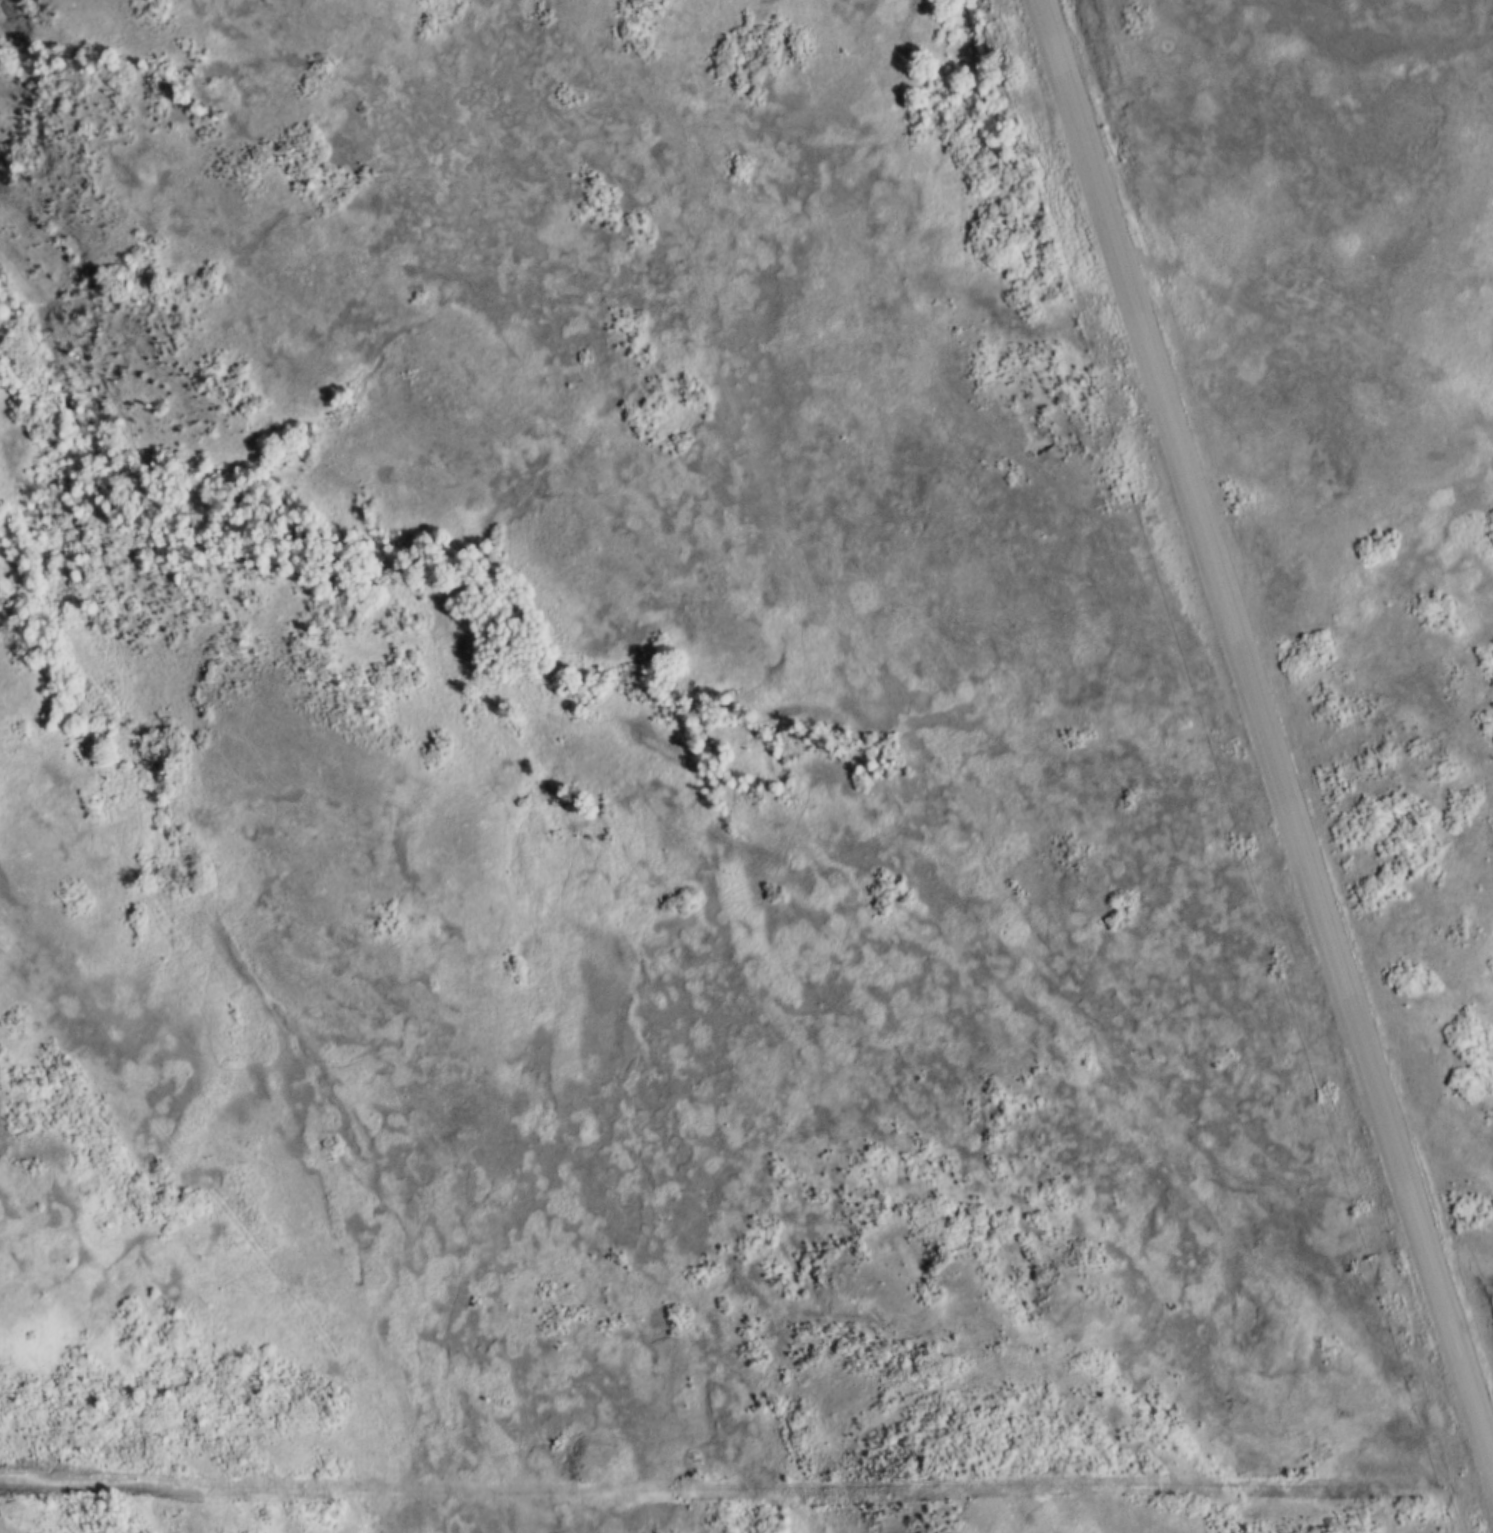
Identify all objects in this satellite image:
road: (1266, 735)

